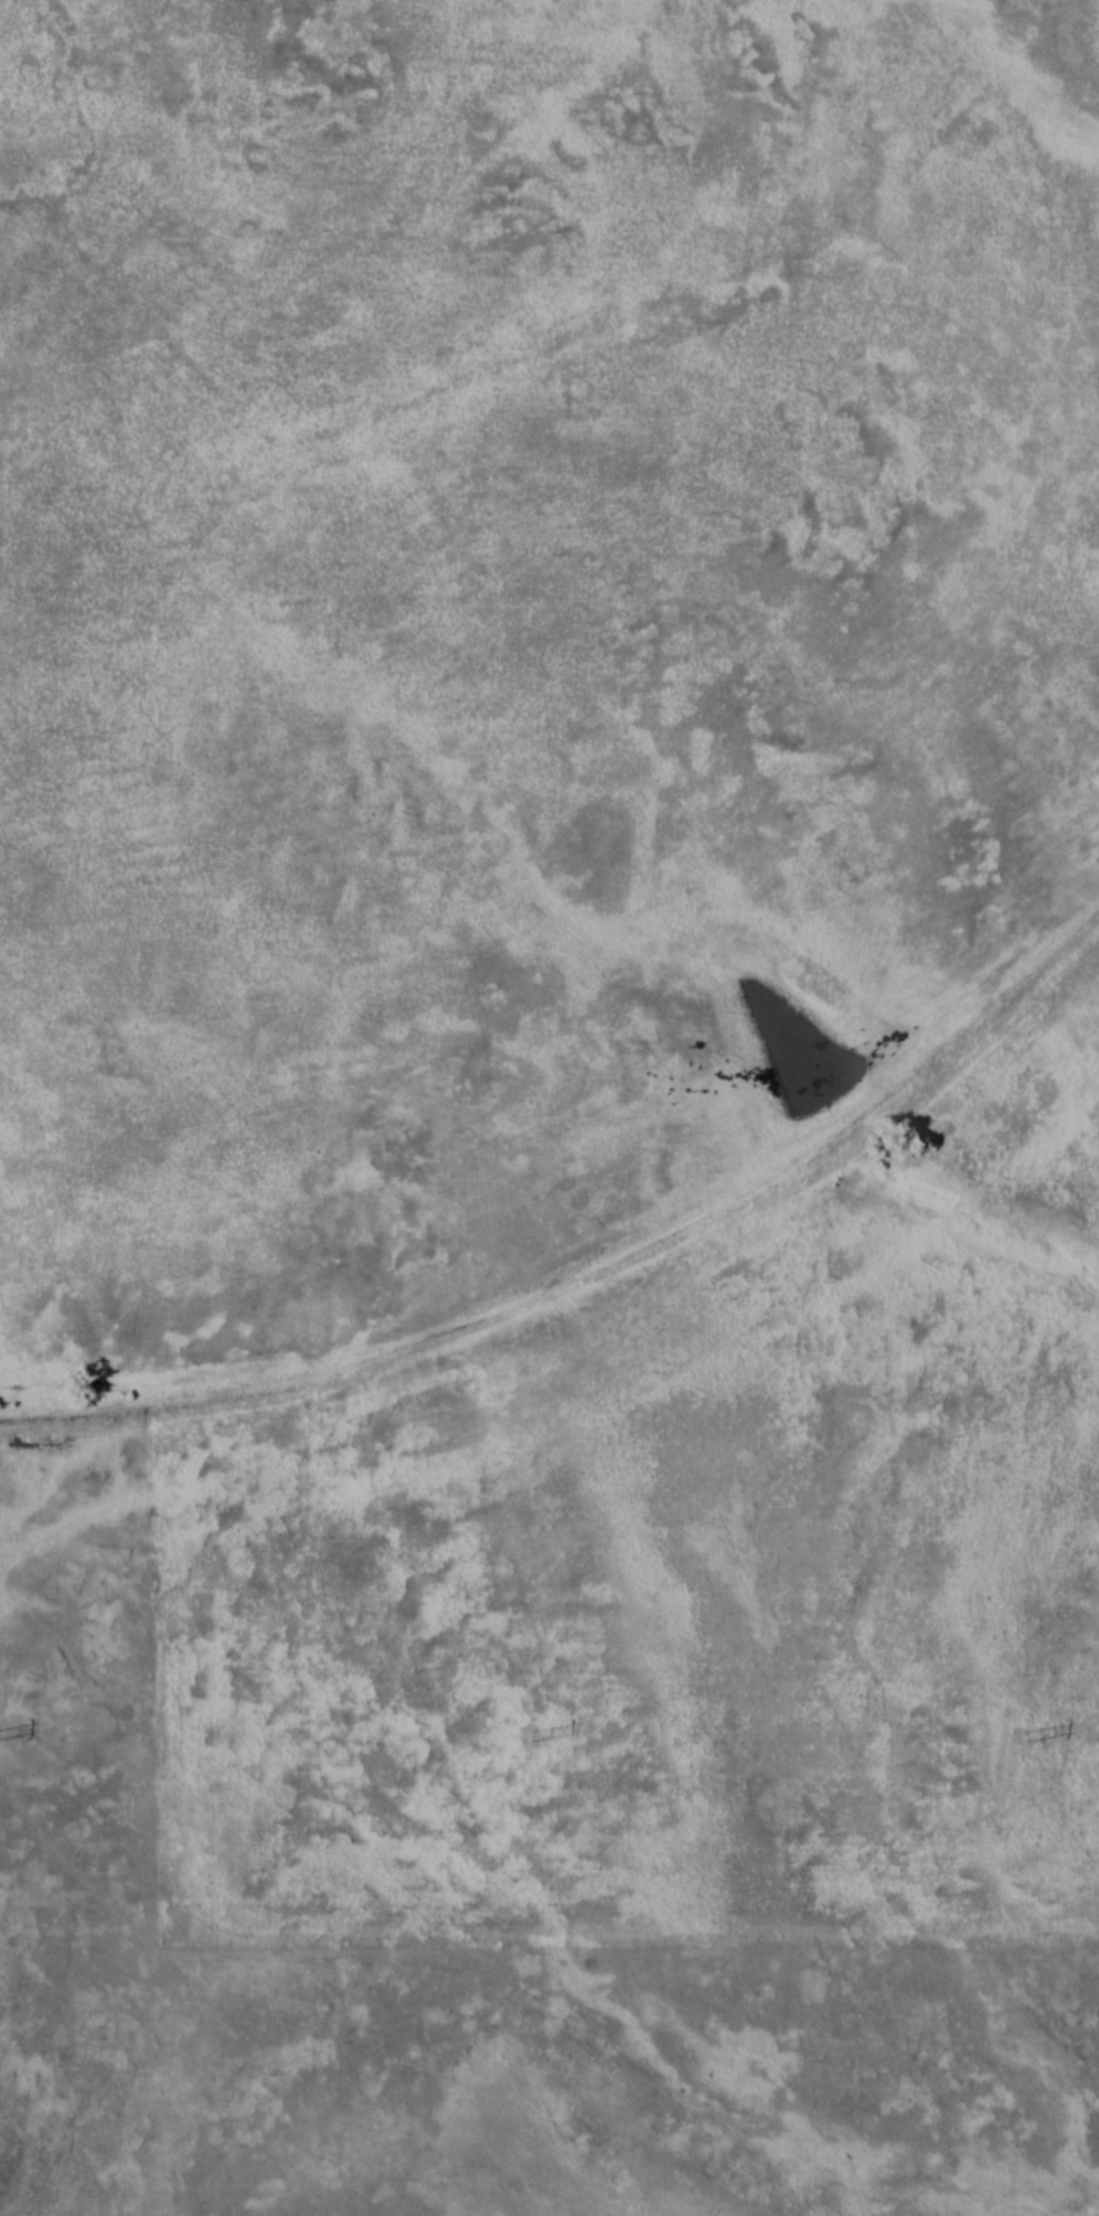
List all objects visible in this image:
power tower: (534, 1738)
power tower: (1021, 1739)

